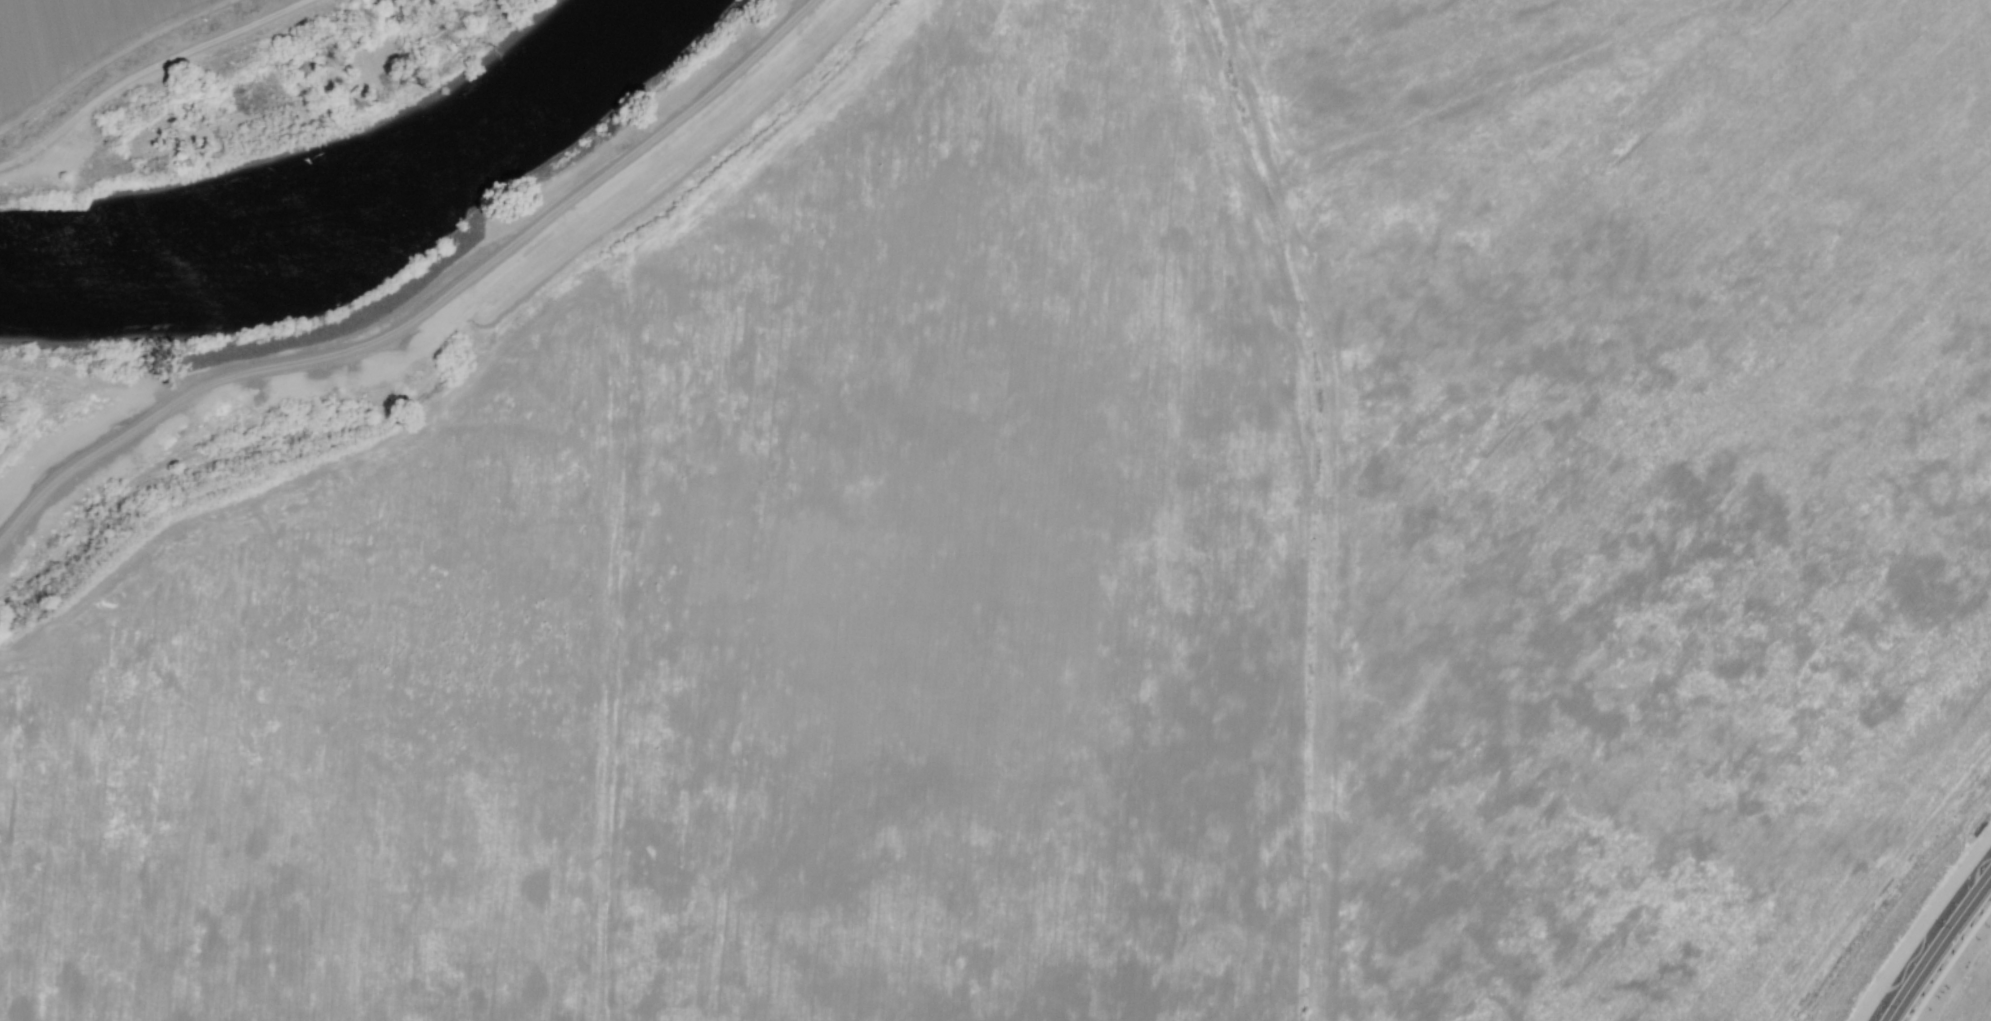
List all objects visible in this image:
road: (135, 67)
river: (359, 215)
road: (432, 313)
crop: (1092, 554)
road: (1943, 954)

